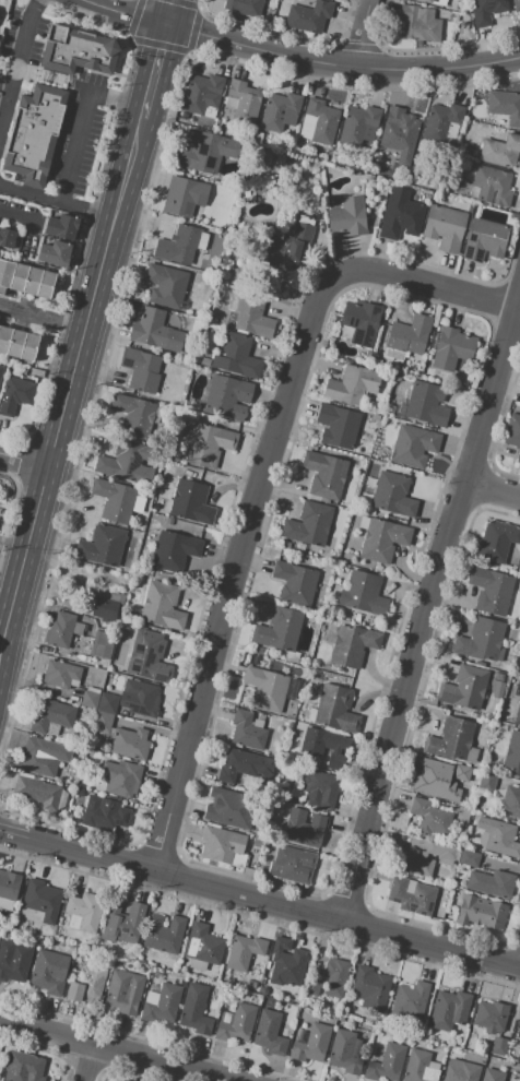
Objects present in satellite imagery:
building: (426, 1)
building: (516, 4)
building: (248, 8)
building: (449, 9)
building: (269, 10)
road: (166, 11)
building: (486, 11)
building: (308, 16)
traffic signals: (163, 23)
building: (418, 23)
road: (359, 33)
building: (76, 50)
road: (298, 59)
road: (17, 67)
road: (152, 73)
building: (202, 94)
building: (243, 100)
building: (504, 106)
building: (281, 111)
building: (321, 120)
building: (441, 122)
building: (357, 124)
road: (86, 126)
building: (401, 129)
building: (35, 134)
building: (500, 151)
building: (206, 152)
building: (281, 157)
building: (470, 168)
building: (492, 186)
building: (246, 193)
building: (185, 197)
road: (58, 203)
road: (17, 216)
building: (347, 216)
building: (401, 218)
building: (61, 227)
building: (445, 227)
building: (224, 234)
building: (7, 237)
building: (484, 240)
building: (178, 245)
building: (289, 248)
building: (54, 253)
building: (25, 278)
building: (165, 286)
road: (516, 309)
building: (252, 316)
road: (44, 318)
building: (211, 319)
building: (361, 321)
building: (155, 331)
building: (406, 337)
building: (17, 343)
building: (452, 348)
building: (236, 356)
building: (204, 361)
building: (377, 364)
building: (1, 370)
building: (141, 370)
building: (351, 384)
building: (519, 385)
building: (15, 394)
road: (71, 396)
building: (227, 396)
building: (426, 404)
building: (390, 409)
building: (399, 411)
building: (137, 415)
building: (391, 421)
building: (338, 426)
building: (513, 433)
building: (209, 446)
building: (413, 446)
road: (26, 460)
building: (125, 463)
building: (324, 475)
road: (261, 483)
road: (492, 489)
building: (393, 495)
building: (116, 501)
building: (189, 503)
building: (309, 524)
building: (382, 540)
building: (496, 540)
building: (102, 545)
building: (299, 547)
building: (173, 550)
building: (518, 561)
building: (295, 583)
building: (489, 591)
building: (363, 593)
road: (429, 598)
building: (106, 606)
building: (161, 606)
building: (356, 616)
building: (279, 629)
building: (59, 630)
building: (481, 641)
building: (102, 645)
building: (352, 646)
building: (149, 656)
building: (519, 669)
building: (61, 675)
building: (496, 686)
building: (463, 688)
building: (265, 689)
building: (141, 698)
building: (90, 700)
building: (108, 704)
building: (334, 710)
building: (517, 713)
building: (51, 716)
building: (103, 723)
building: (296, 724)
building: (289, 726)
building: (246, 732)
building: (450, 739)
building: (129, 744)
building: (324, 747)
building: (512, 755)
building: (37, 759)
building: (493, 761)
building: (243, 767)
building: (462, 773)
building: (118, 779)
building: (487, 782)
building: (434, 786)
building: (320, 789)
building: (37, 792)
building: (510, 803)
building: (229, 809)
building: (104, 815)
building: (463, 815)
building: (430, 818)
building: (304, 828)
road: (13, 834)
building: (500, 839)
building: (221, 844)
building: (442, 852)
building: (469, 858)
building: (413, 863)
building: (291, 865)
building: (491, 882)
building: (8, 889)
building: (411, 896)
building: (42, 900)
road: (273, 901)
building: (84, 911)
building: (481, 912)
building: (450, 915)
building: (121, 923)
building: (163, 935)
building: (203, 945)
building: (244, 951)
building: (14, 960)
building: (116, 962)
building: (286, 962)
building: (179, 970)
building: (50, 971)
building: (334, 976)
building: (154, 977)
building: (263, 983)
building: (250, 984)
building: (87, 985)
building: (312, 988)
building: (369, 988)
building: (123, 991)
building: (410, 1001)
building: (163, 1005)
building: (449, 1010)
building: (194, 1011)
building: (491, 1015)
building: (236, 1023)
building: (518, 1029)
building: (269, 1033)
building: (472, 1035)
building: (310, 1044)
building: (461, 1044)
building: (498, 1046)
road: (113, 1050)
building: (344, 1053)
road: (86, 1062)
building: (386, 1064)
building: (508, 1064)
building: (25, 1066)
building: (419, 1067)
building: (464, 1072)
building: (492, 1074)
building: (119, 1080)
building: (121, 1080)

